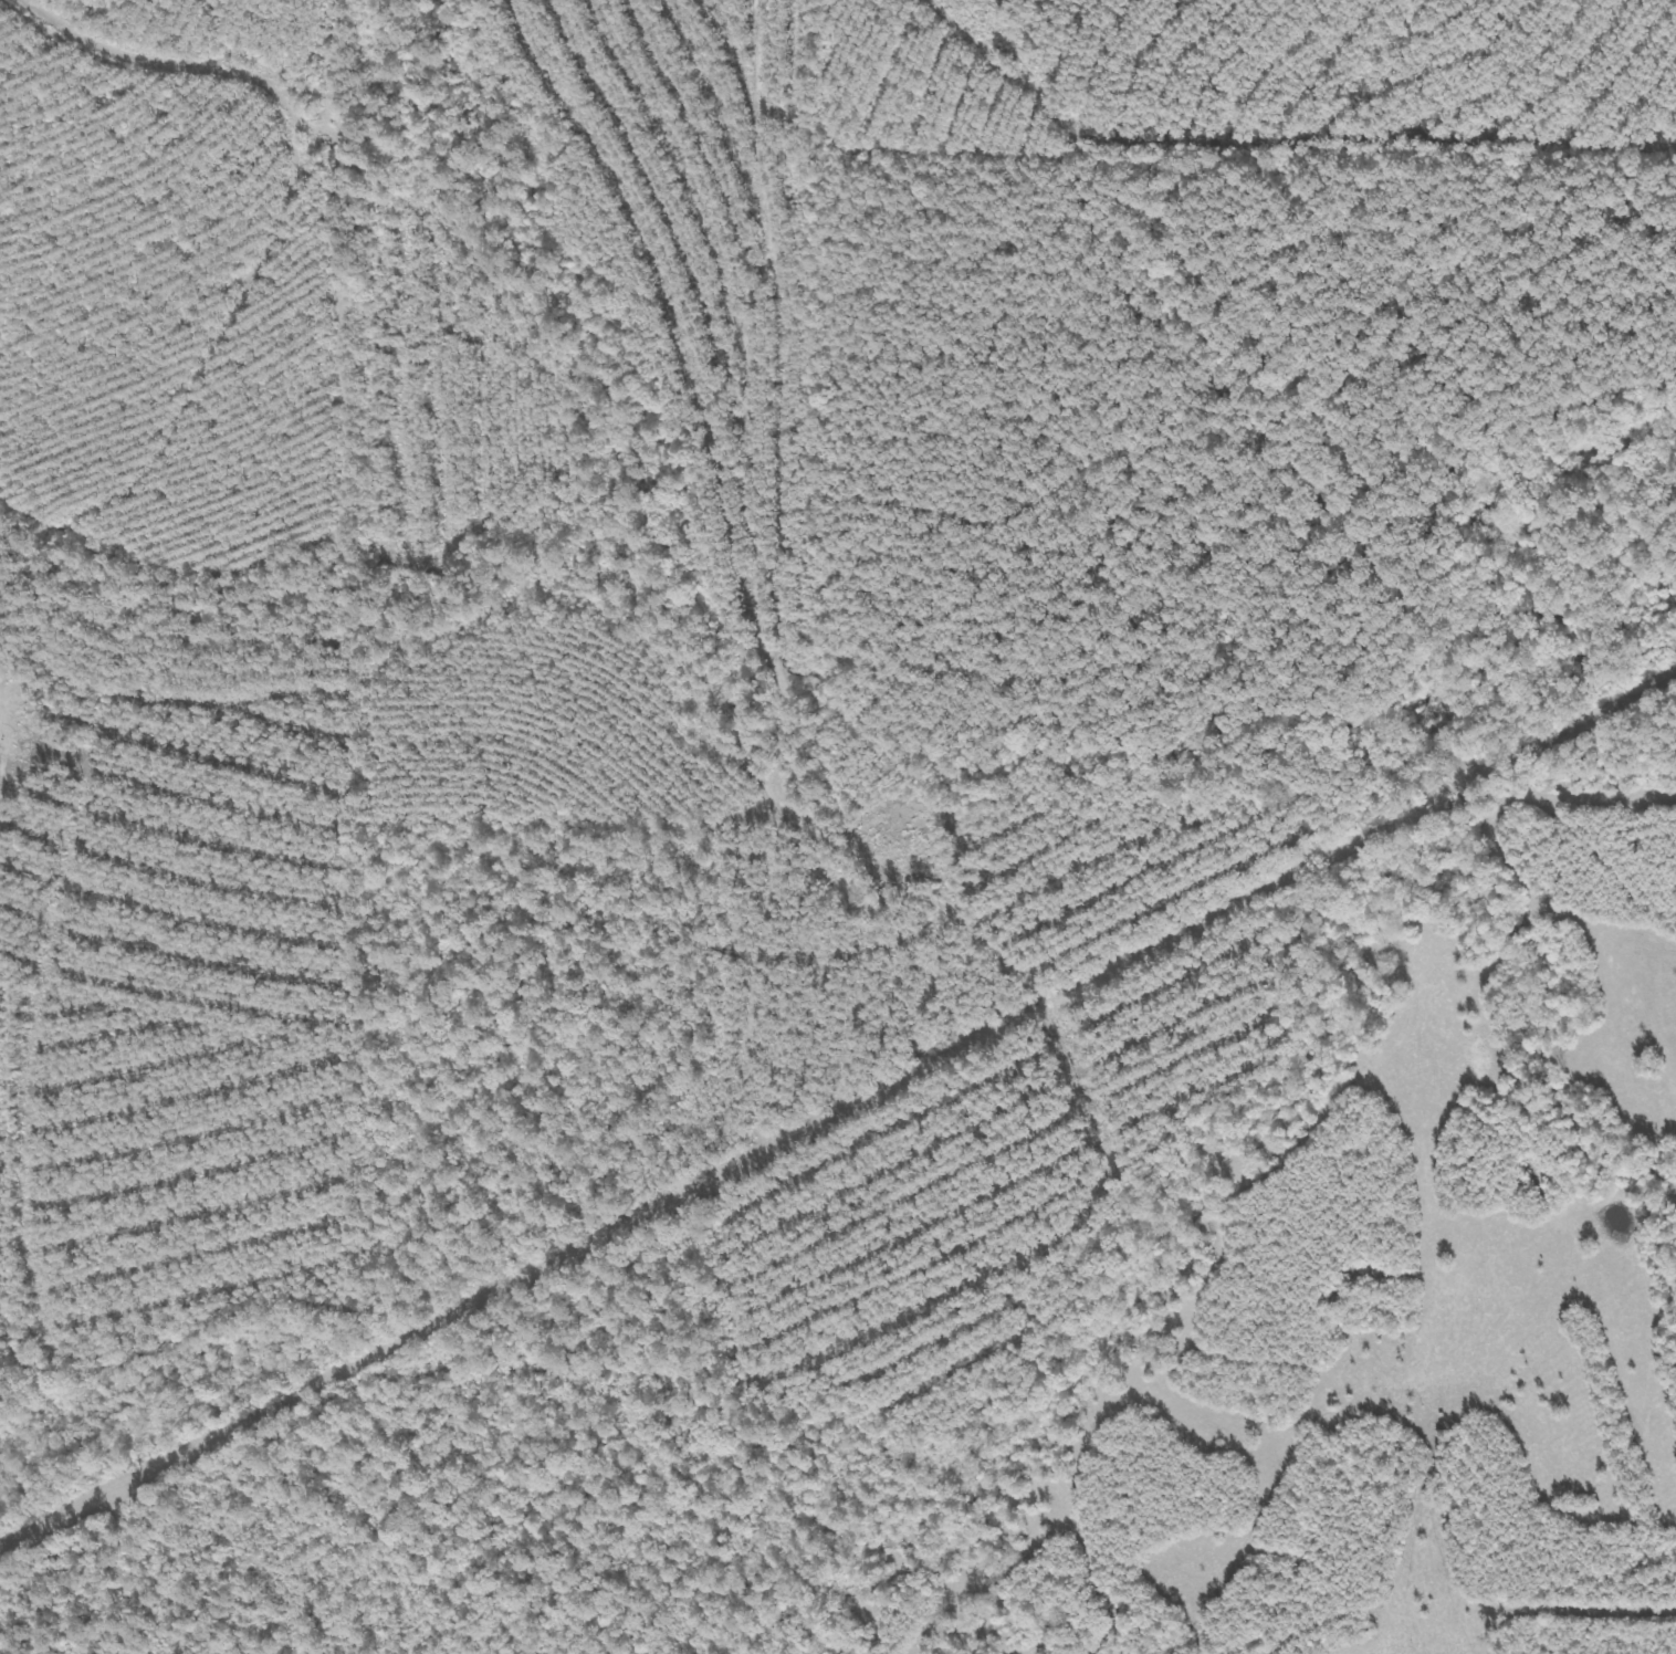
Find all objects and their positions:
road: (216, 327)
road: (99, 911)

